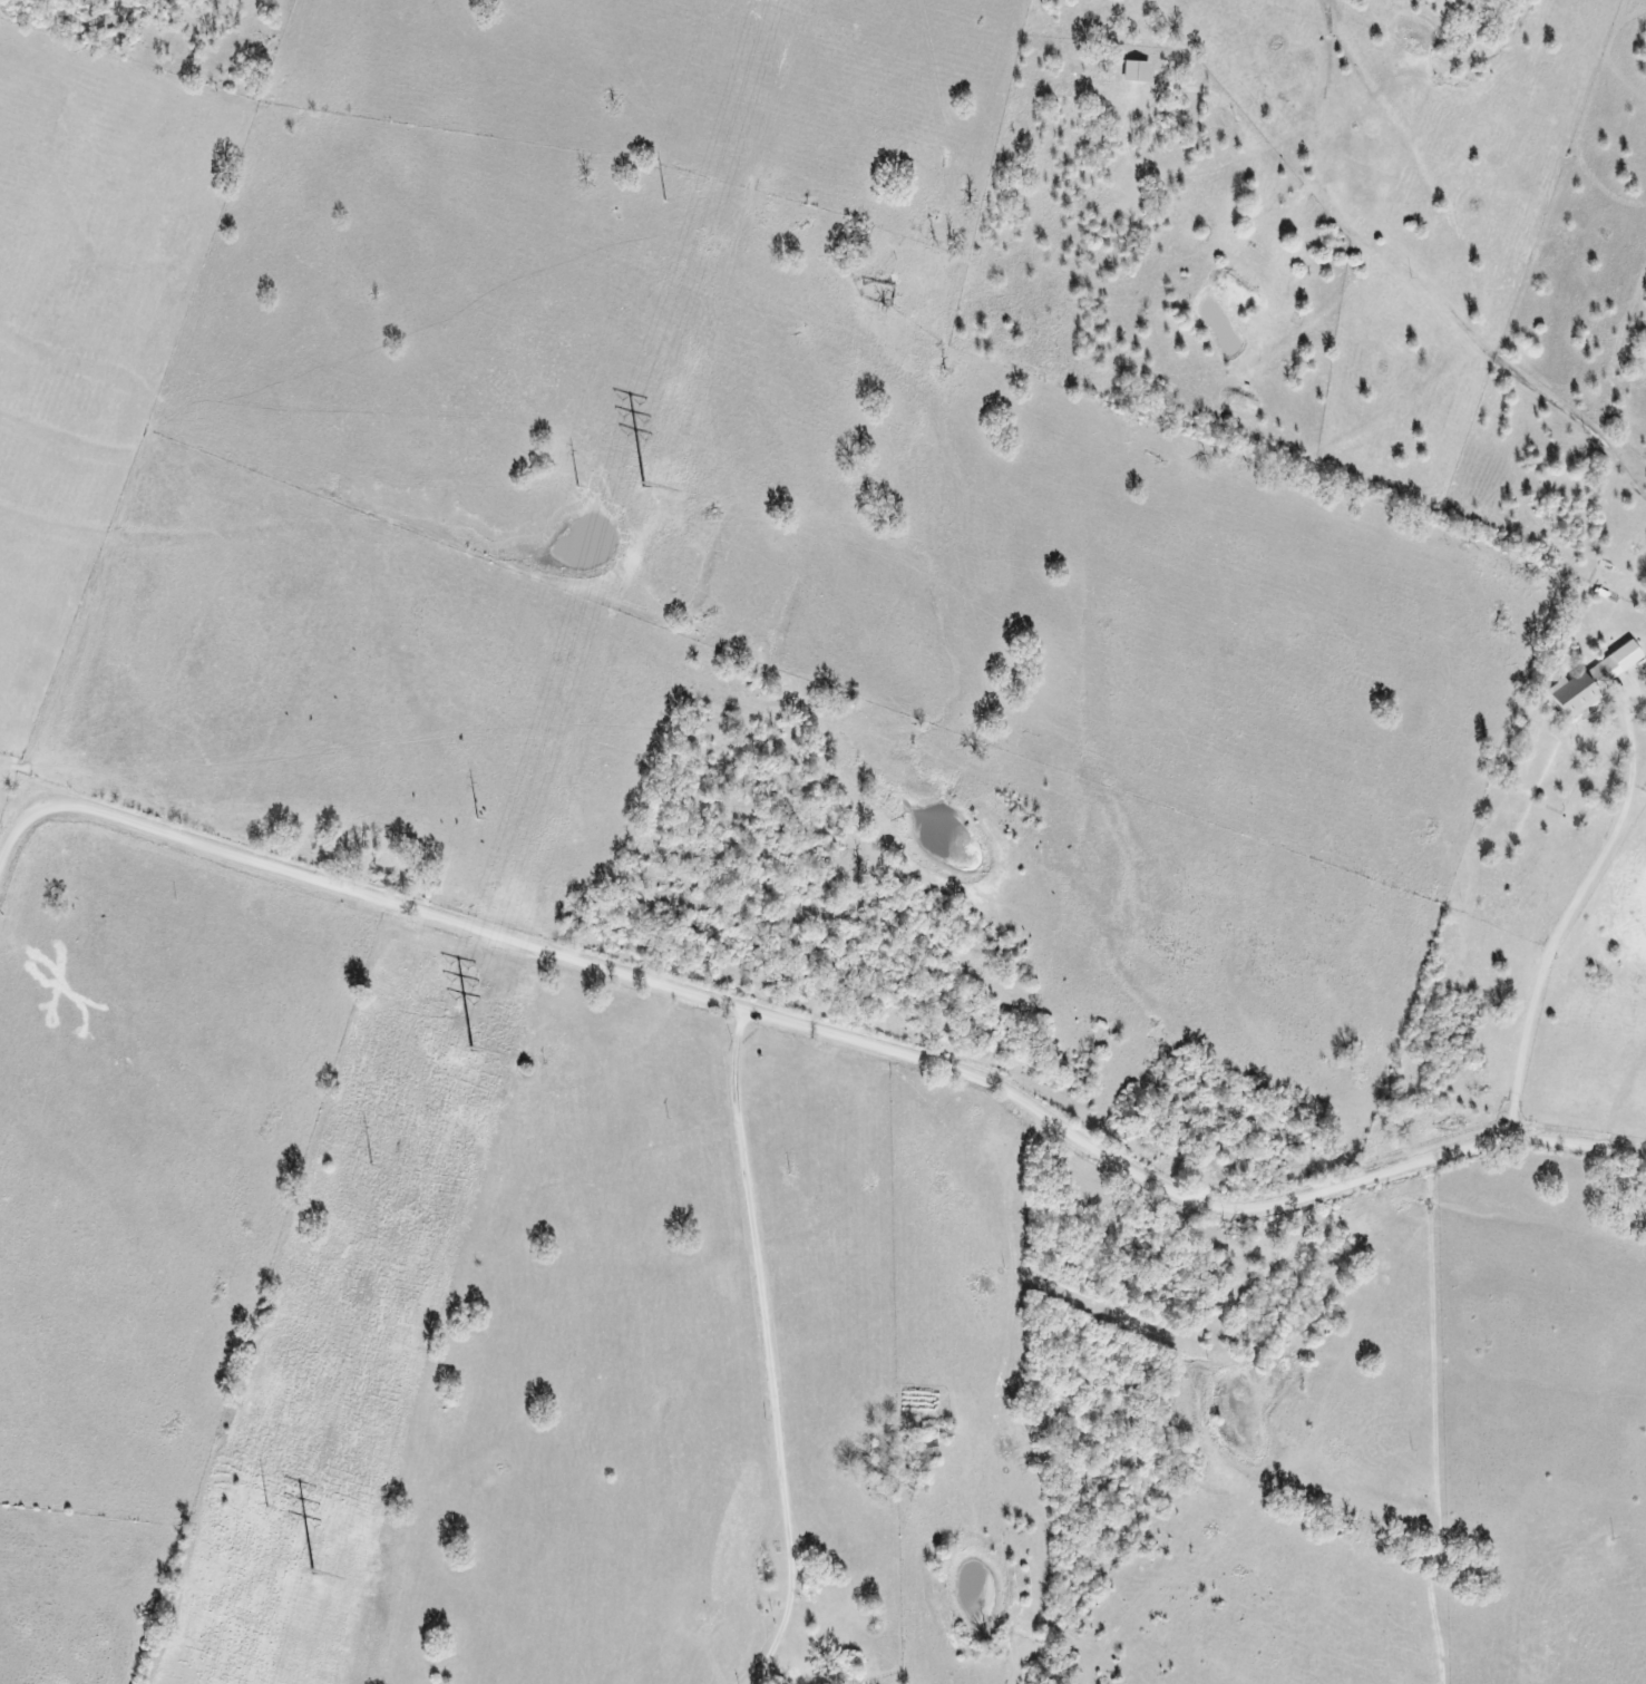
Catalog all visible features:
building: (1134, 71)
power tower: (664, 199)
power tower: (576, 486)
building: (1590, 683)
power tower: (477, 818)
road: (818, 1029)
power tower: (369, 1165)
power tower: (266, 1507)

